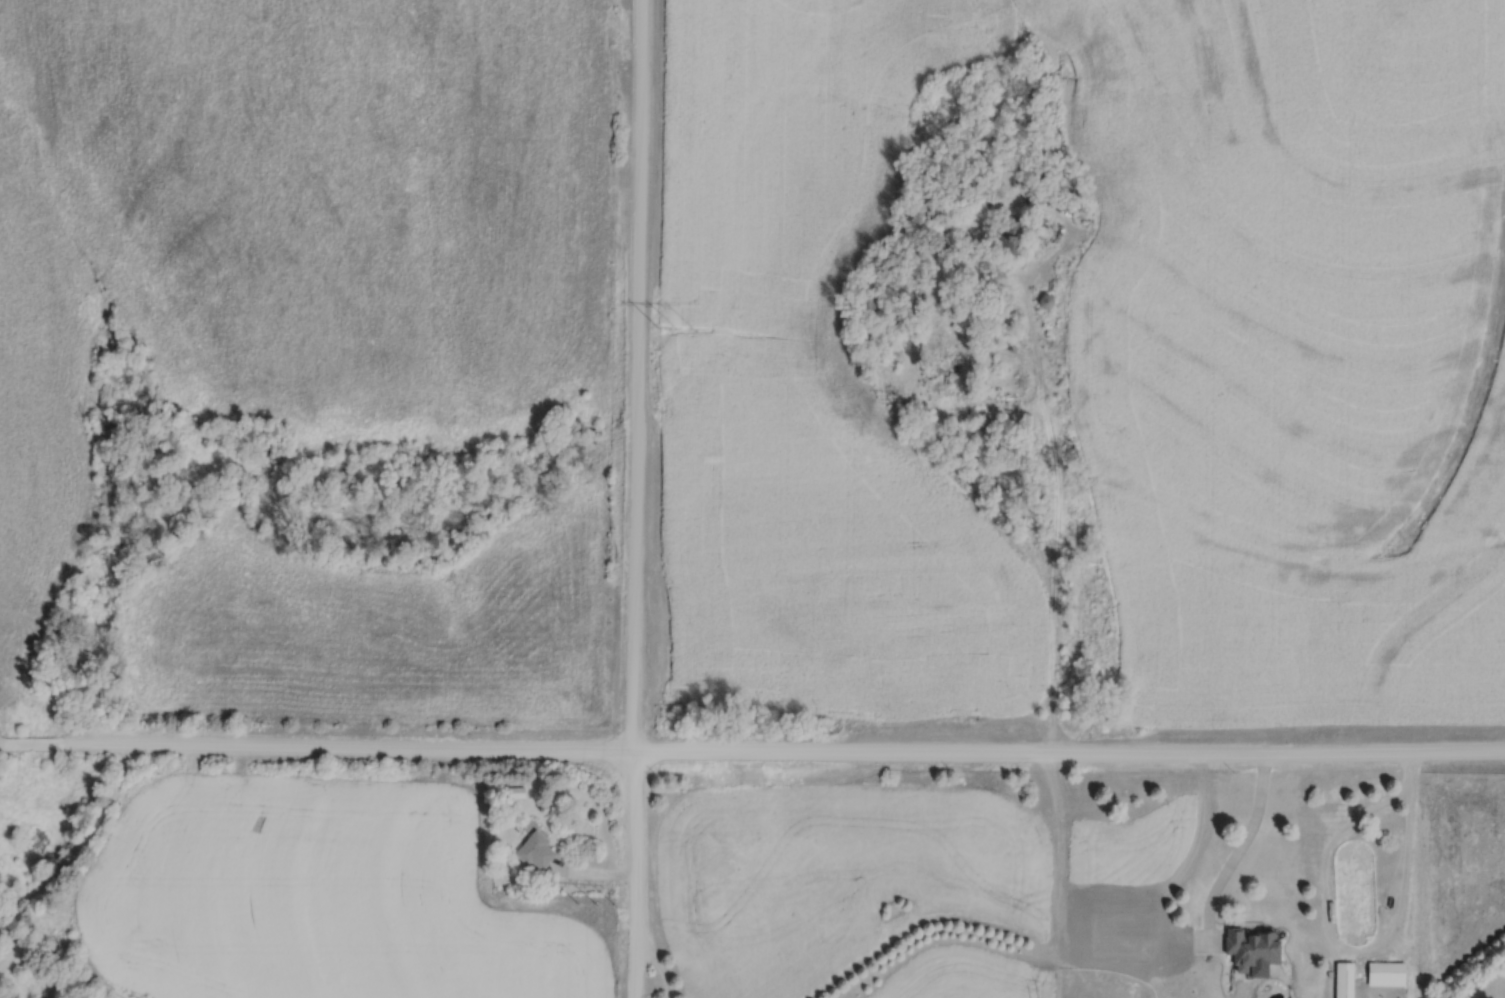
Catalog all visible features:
building: (1009, 237)
building: (952, 247)
power tower: (682, 326)
road: (636, 499)
road: (752, 754)
building: (513, 792)
road: (81, 849)
building: (533, 851)
road: (1240, 855)
power tower: (597, 905)
building: (1250, 948)
road: (1350, 950)
road: (661, 969)
building: (1384, 973)
building: (1342, 979)

